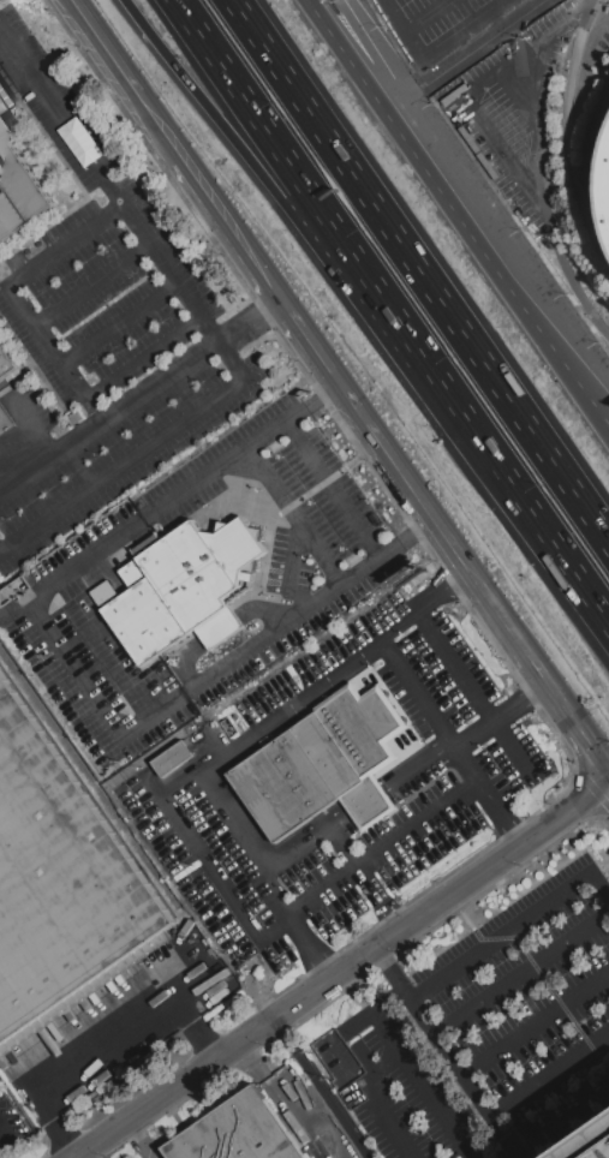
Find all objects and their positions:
road: (498, 22)
road: (408, 26)
road: (448, 40)
road: (109, 44)
road: (482, 48)
road: (538, 48)
road: (394, 71)
parking lot: (497, 80)
building: (4, 102)
road: (573, 121)
road: (163, 123)
road: (509, 166)
road: (295, 168)
road: (263, 174)
road: (601, 174)
road: (111, 183)
building: (608, 189)
stadium: (608, 189)
building: (20, 192)
road: (458, 211)
road: (234, 226)
building: (608, 250)
road: (422, 269)
road: (92, 285)
road: (11, 298)
road: (255, 322)
road: (123, 327)
parking lot: (109, 332)
road: (309, 333)
road: (144, 359)
building: (8, 360)
road: (338, 374)
road: (112, 420)
road: (28, 430)
road: (383, 440)
road: (143, 454)
road: (511, 478)
road: (345, 506)
road: (443, 526)
road: (408, 536)
building: (183, 587)
road: (17, 613)
road: (521, 638)
road: (91, 692)
road: (476, 693)
road: (502, 710)
road: (596, 741)
road: (237, 745)
building: (172, 758)
building: (326, 764)
road: (390, 781)
road: (455, 798)
road: (503, 812)
road: (344, 844)
road: (208, 865)
building: (60, 882)
road: (514, 925)
road: (396, 969)
road: (345, 971)
road: (523, 971)
road: (538, 1023)
road: (346, 1027)
parking lot: (480, 1027)
road: (103, 1043)
road: (389, 1063)
road: (550, 1072)
road: (468, 1076)
road: (424, 1084)
road: (323, 1088)
road: (292, 1102)
road: (389, 1120)
road: (1, 1126)
road: (565, 1126)
road: (1, 1128)
building: (235, 1133)
road: (141, 1140)
building: (592, 1147)

